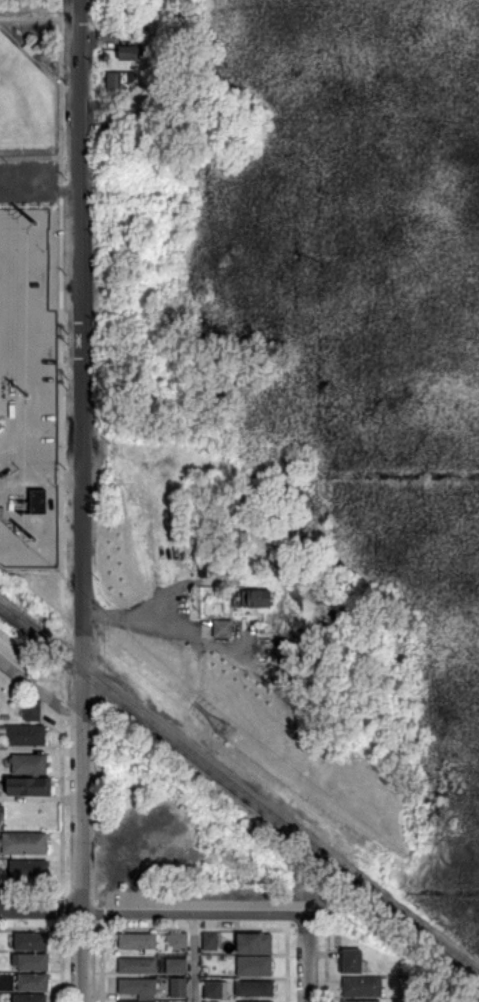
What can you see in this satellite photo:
road: (40, 6)
building: (31, 49)
building: (130, 52)
building: (124, 82)
park: (26, 101)
building: (122, 185)
building: (1, 206)
power substation: (29, 390)
building: (38, 501)
road: (81, 501)
building: (235, 536)
building: (202, 568)
building: (256, 598)
road: (127, 613)
building: (222, 628)
building: (261, 651)
building: (207, 682)
road: (41, 690)
building: (33, 711)
power tower: (230, 728)
building: (24, 734)
building: (29, 764)
building: (29, 786)
railway: (239, 787)
building: (172, 804)
building: (23, 843)
building: (115, 854)
building: (29, 870)
road: (41, 909)
road: (194, 913)
building: (178, 940)
building: (212, 940)
building: (31, 941)
building: (139, 941)
building: (255, 943)
road: (195, 958)
road: (306, 958)
building: (31, 961)
building: (352, 961)
building: (137, 965)
building: (176, 965)
building: (254, 966)
building: (233, 973)
building: (33, 982)
building: (363, 986)
road: (445, 986)
building: (138, 987)
building: (180, 987)
building: (255, 988)
building: (213, 990)
road: (420, 993)
building: (30, 998)
building: (210, 1000)
building: (359, 1000)
building: (138, 1001)
building: (252, 1001)

